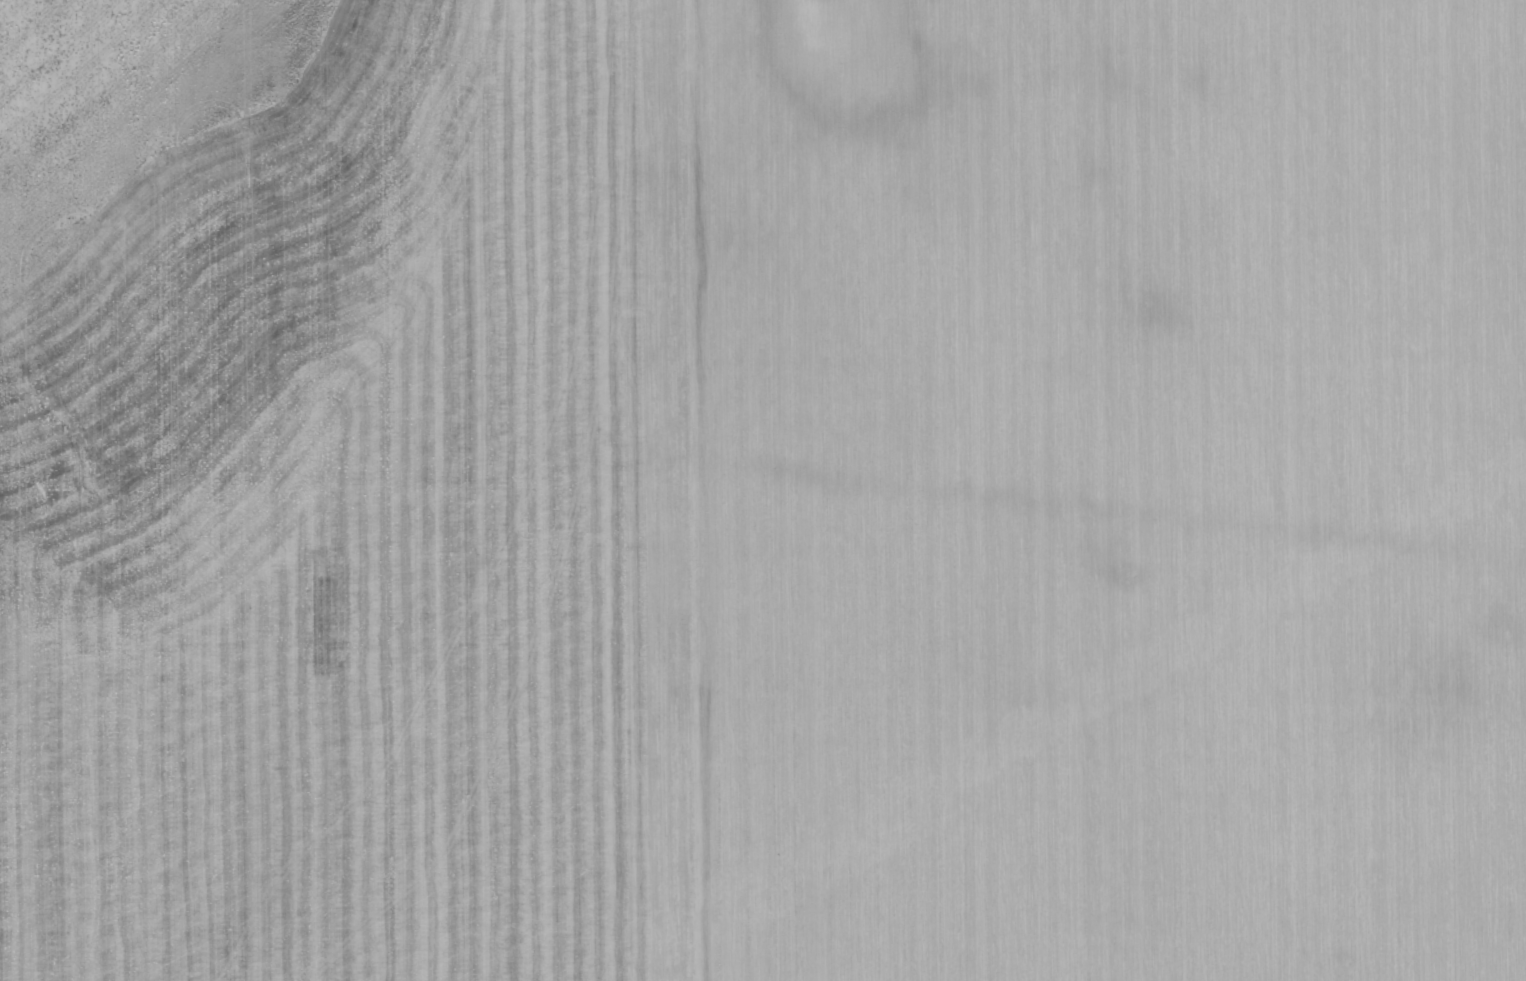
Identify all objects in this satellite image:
road: (895, 14)

